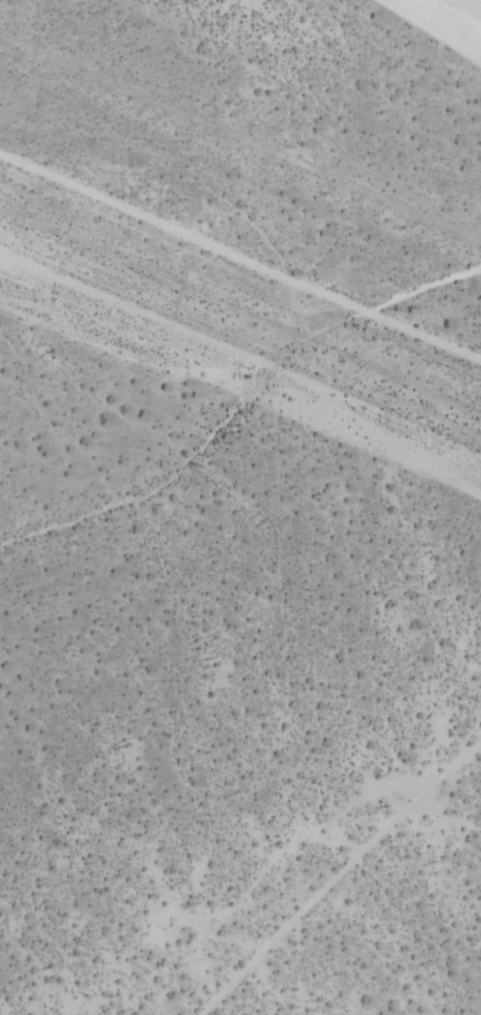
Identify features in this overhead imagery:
road: (240, 259)

